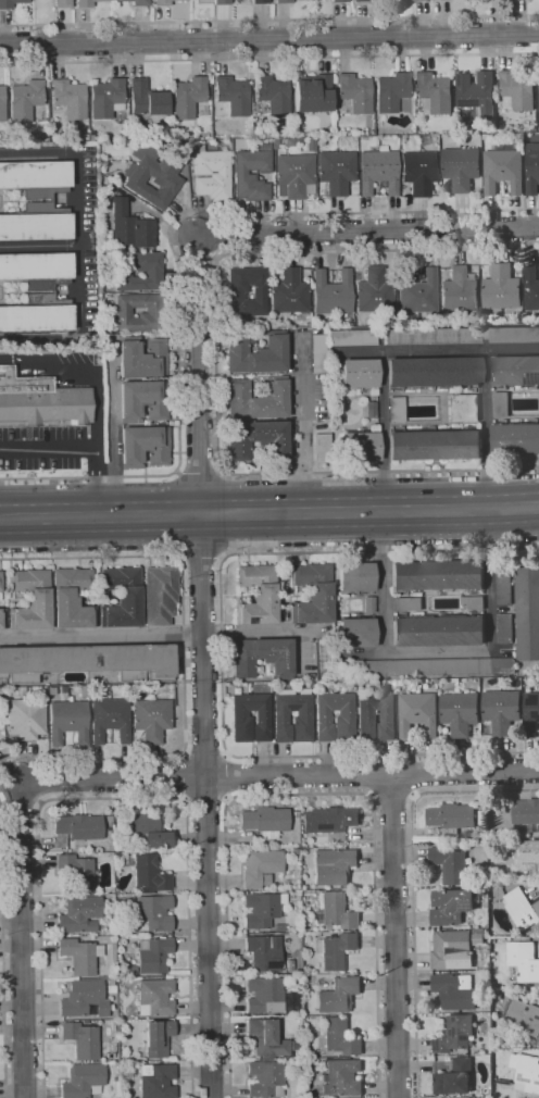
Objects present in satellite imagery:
building: (410, 0)
building: (421, 0)
building: (284, 1)
building: (339, 1)
building: (362, 1)
building: (87, 2)
building: (136, 2)
building: (164, 2)
building: (222, 2)
building: (260, 2)
building: (10, 3)
building: (63, 3)
road: (269, 21)
road: (269, 45)
road: (269, 58)
building: (517, 90)
building: (391, 91)
building: (538, 91)
building: (354, 92)
building: (476, 92)
building: (312, 93)
building: (435, 93)
building: (233, 95)
building: (273, 95)
building: (188, 97)
building: (106, 98)
building: (70, 99)
building: (147, 99)
building: (25, 100)
building: (2, 103)
building: (202, 111)
building: (179, 130)
building: (486, 136)
building: (464, 137)
building: (276, 144)
building: (461, 167)
building: (532, 167)
building: (503, 169)
building: (336, 171)
building: (377, 171)
building: (419, 172)
building: (211, 173)
building: (251, 173)
building: (152, 174)
building: (293, 175)
building: (50, 201)
building: (129, 226)
road: (367, 232)
road: (39, 246)
road: (79, 247)
road: (173, 250)
building: (137, 271)
building: (501, 288)
building: (531, 288)
building: (459, 290)
building: (289, 291)
building: (374, 291)
building: (415, 291)
building: (51, 292)
building: (331, 292)
building: (231, 296)
building: (150, 314)
building: (299, 317)
building: (463, 335)
building: (353, 337)
road: (438, 348)
building: (256, 352)
building: (317, 353)
building: (142, 358)
road: (16, 360)
road: (216, 362)
building: (515, 370)
building: (433, 372)
building: (359, 373)
road: (96, 376)
building: (256, 399)
building: (142, 400)
building: (40, 402)
building: (500, 404)
building: (463, 408)
building: (396, 409)
building: (371, 410)
road: (302, 432)
road: (488, 435)
road: (384, 437)
building: (515, 438)
building: (258, 439)
building: (143, 446)
building: (321, 446)
building: (360, 446)
building: (435, 446)
road: (74, 449)
road: (200, 476)
road: (269, 501)
road: (269, 527)
road: (200, 556)
building: (437, 575)
building: (355, 577)
building: (0, 581)
building: (503, 585)
building: (312, 594)
building: (160, 595)
building: (258, 595)
building: (121, 597)
building: (72, 598)
building: (30, 599)
building: (473, 602)
building: (406, 603)
building: (368, 604)
building: (527, 611)
building: (2, 619)
building: (504, 627)
building: (438, 629)
building: (355, 633)
road: (101, 634)
road: (223, 653)
building: (262, 656)
road: (183, 659)
building: (89, 661)
road: (203, 666)
building: (426, 666)
building: (501, 710)
building: (459, 712)
building: (417, 713)
building: (530, 713)
building: (303, 714)
building: (335, 716)
building: (375, 716)
building: (250, 718)
building: (25, 719)
building: (110, 719)
building: (151, 719)
building: (67, 721)
road: (204, 754)
road: (278, 775)
road: (371, 775)
road: (413, 775)
road: (187, 776)
road: (221, 776)
road: (300, 794)
road: (392, 797)
road: (114, 798)
road: (205, 800)
building: (525, 811)
building: (297, 814)
building: (481, 816)
building: (451, 818)
building: (265, 821)
building: (330, 822)
building: (78, 826)
building: (148, 831)
building: (293, 851)
building: (529, 851)
building: (118, 856)
building: (449, 864)
building: (334, 865)
building: (261, 868)
building: (76, 872)
building: (150, 874)
road: (413, 884)
building: (480, 891)
building: (450, 906)
building: (522, 908)
building: (260, 910)
building: (154, 911)
building: (335, 912)
building: (79, 914)
building: (126, 924)
building: (278, 927)
road: (398, 935)
road: (21, 939)
building: (336, 950)
building: (451, 950)
road: (4, 952)
building: (264, 953)
building: (79, 956)
building: (154, 956)
building: (523, 960)
building: (289, 964)
building: (110, 986)
building: (453, 993)
building: (264, 995)
building: (338, 995)
building: (496, 996)
building: (155, 997)
building: (84, 999)
building: (289, 1001)
building: (523, 1015)
building: (454, 1034)
building: (269, 1036)
building: (340, 1037)
building: (158, 1038)
building: (83, 1039)
building: (537, 1044)
building: (294, 1046)
building: (309, 1064)
building: (290, 1066)
building: (526, 1071)
building: (342, 1077)
building: (265, 1078)
building: (454, 1078)
building: (83, 1081)
building: (152, 1081)
building: (129, 1094)

